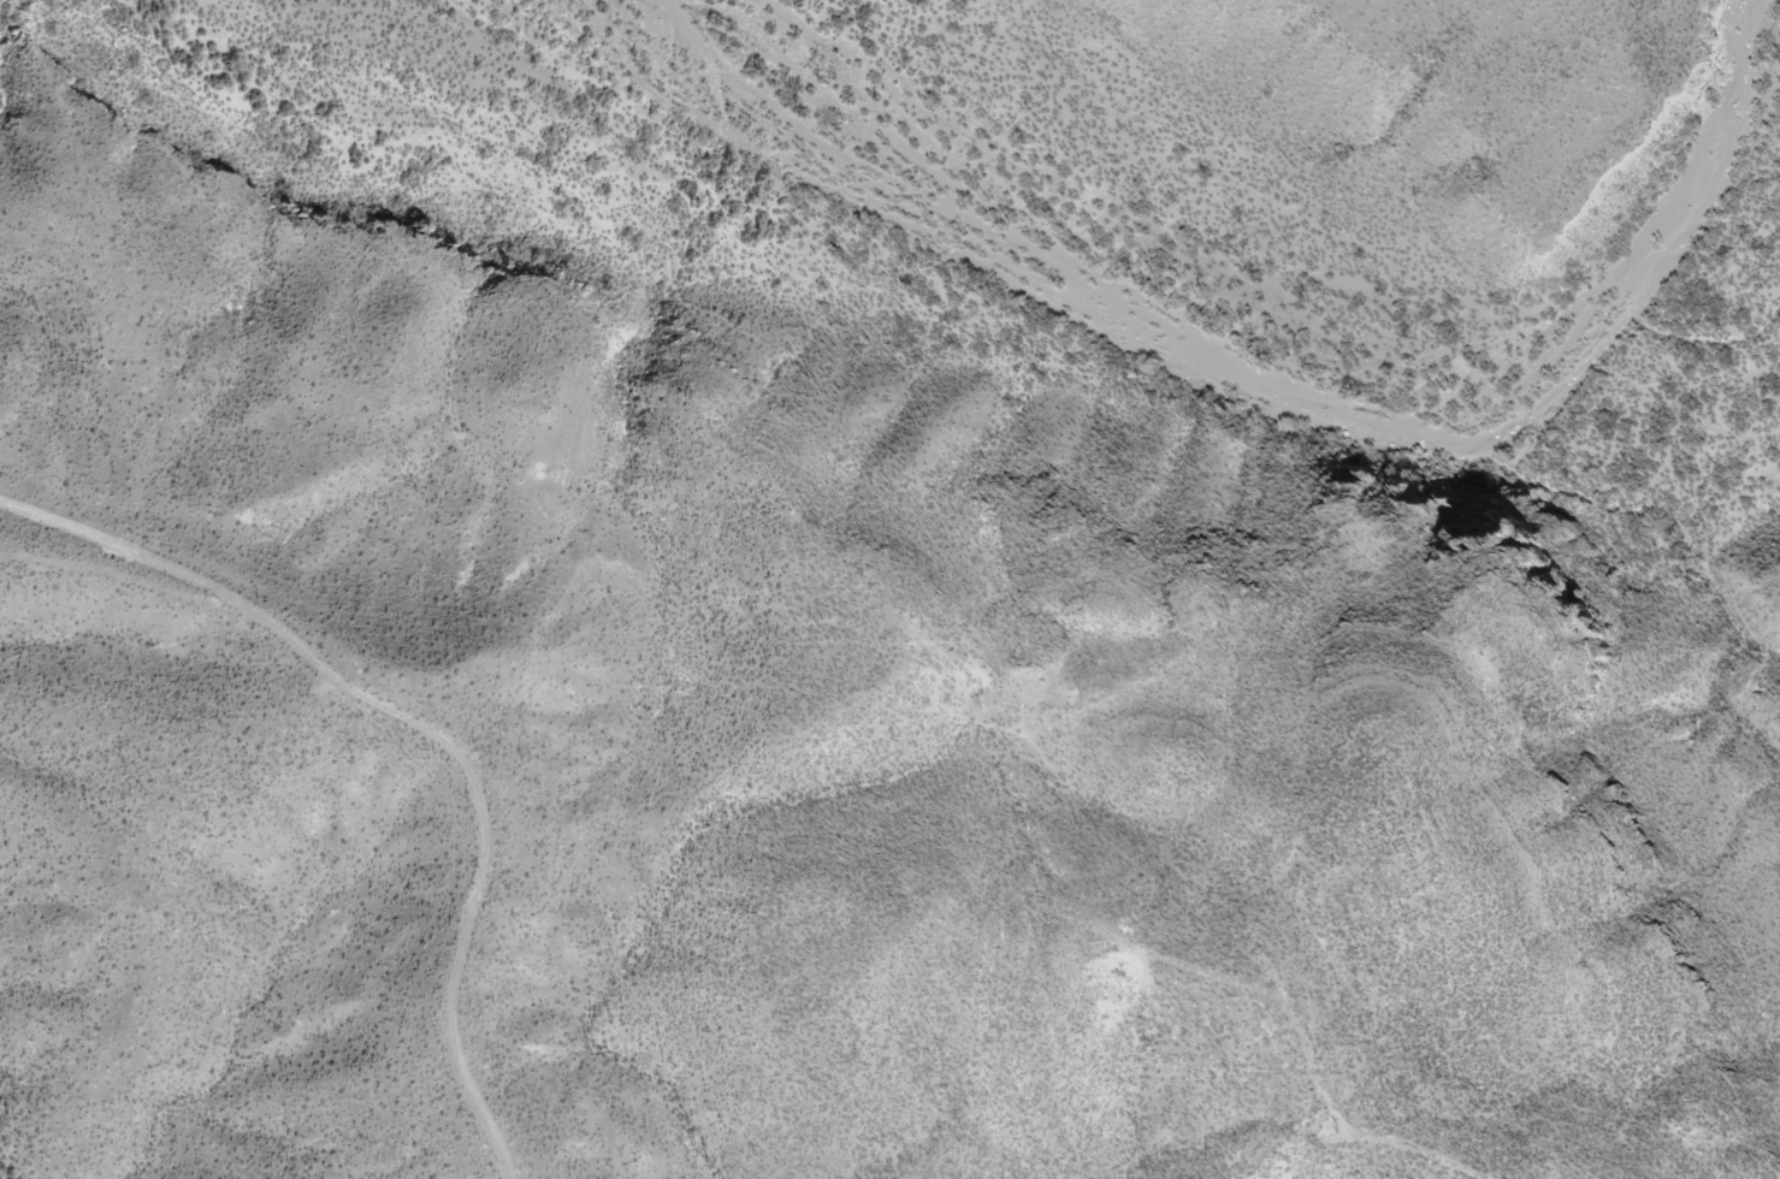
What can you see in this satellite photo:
road: (431, 734)

